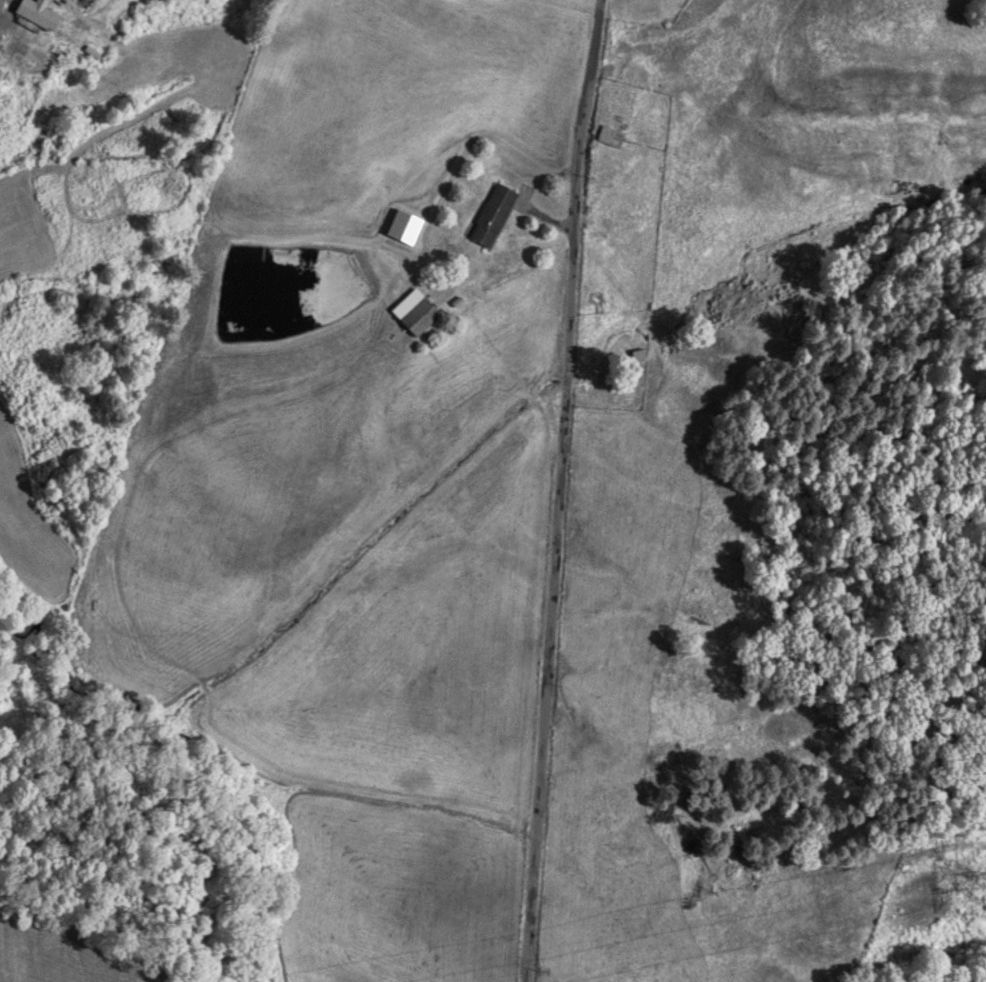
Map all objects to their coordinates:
building: (33, 12)
building: (607, 135)
building: (489, 214)
building: (412, 312)
road: (551, 490)

